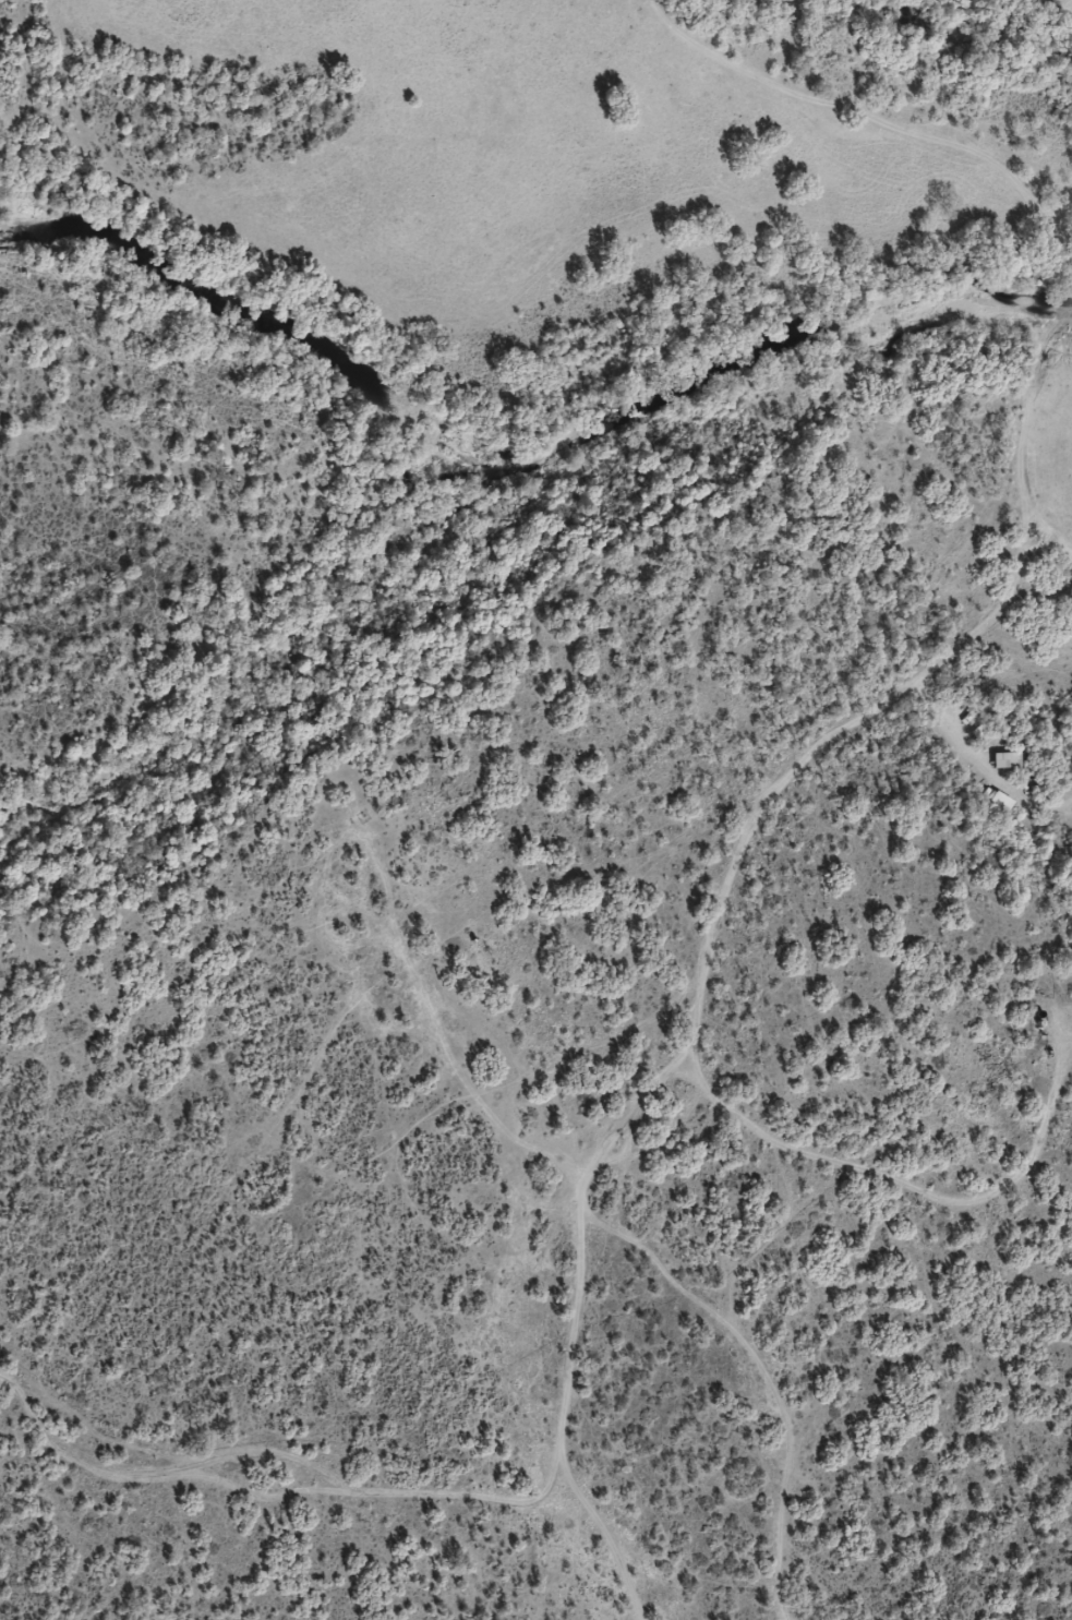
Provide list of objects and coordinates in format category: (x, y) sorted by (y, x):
building: (1002, 801)

